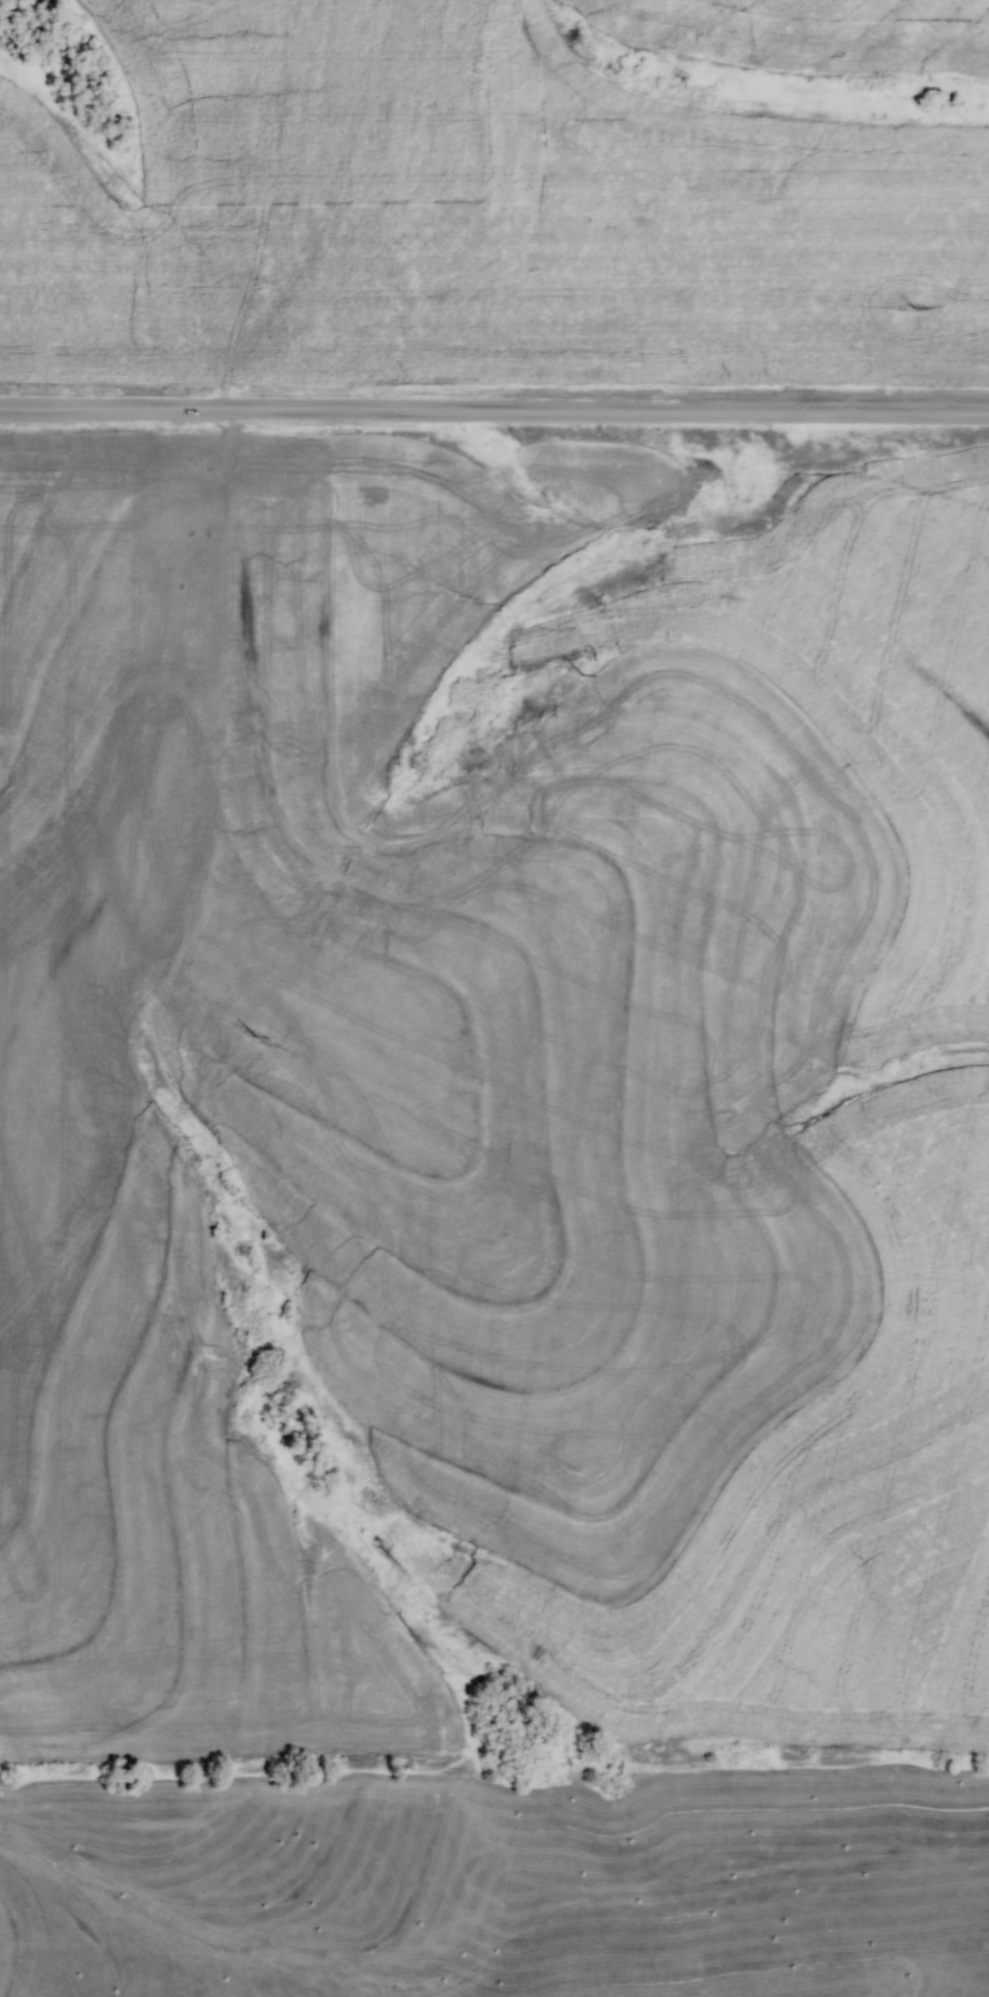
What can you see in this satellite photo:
power tower: (935, 280)
road: (494, 406)
power tower: (653, 592)
power tower: (289, 995)

